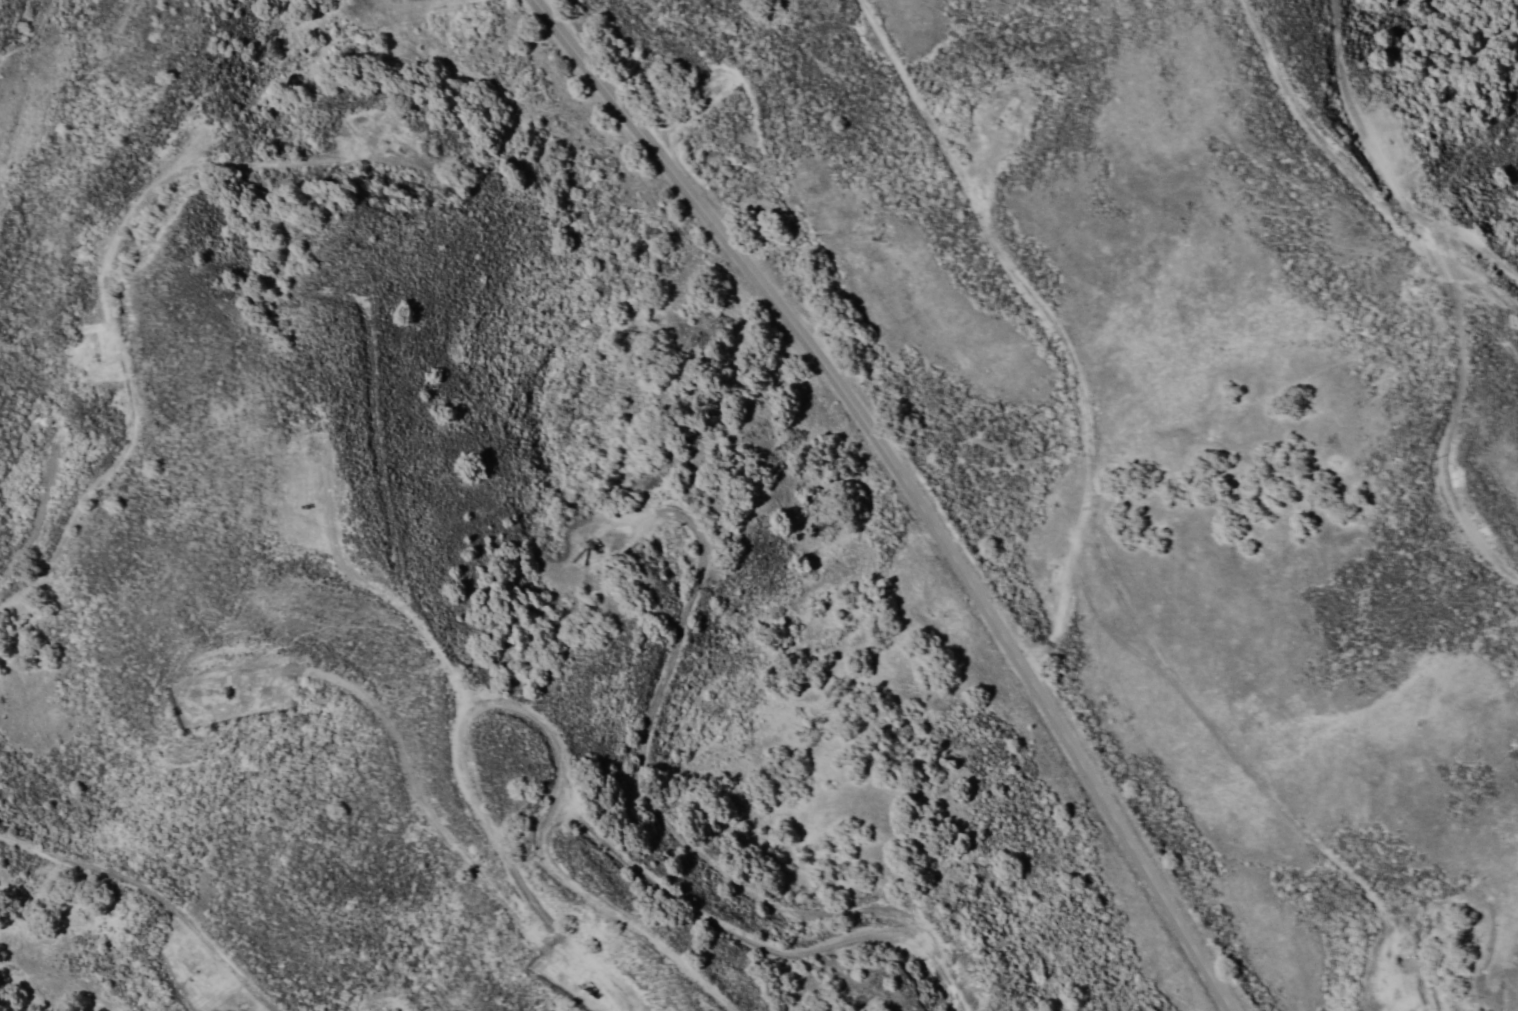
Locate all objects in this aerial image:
road: (1358, 132)
road: (1351, 174)
road: (103, 261)
road: (1495, 287)
road: (1050, 321)
road: (1453, 412)
road: (909, 487)
road: (392, 523)
road: (520, 712)
road: (636, 767)
road: (432, 816)
road: (155, 895)
road: (760, 941)
road: (1419, 964)

